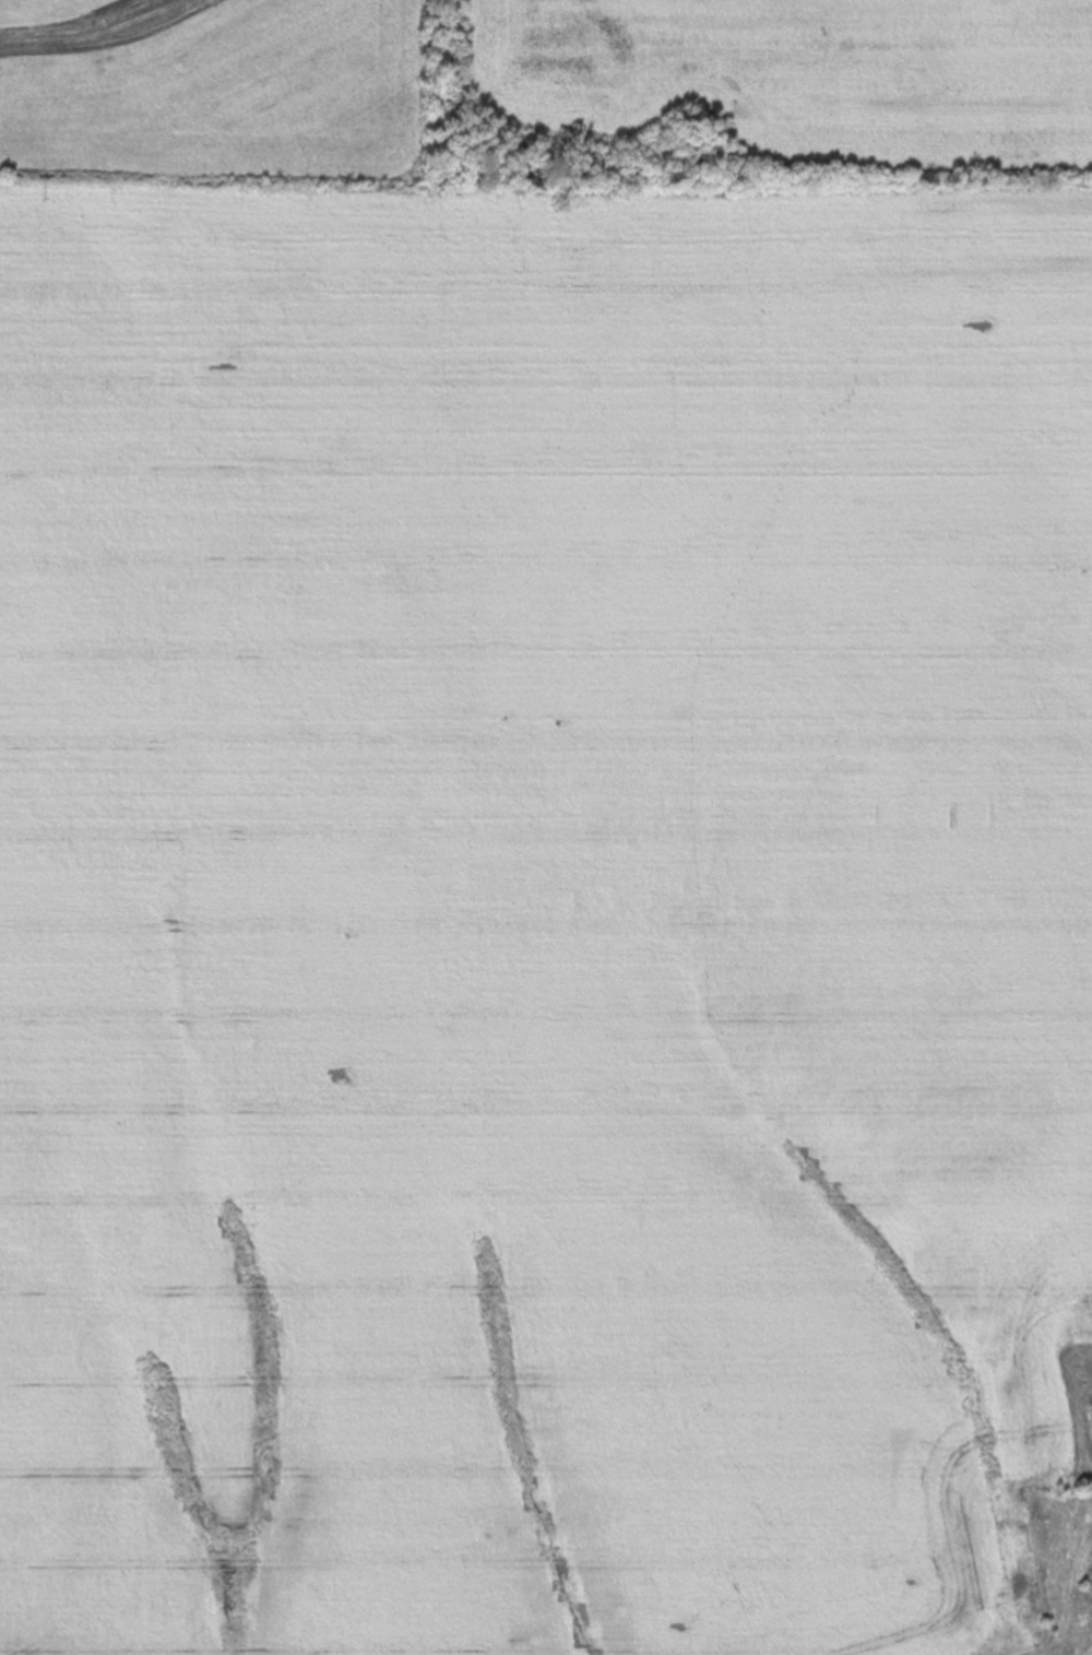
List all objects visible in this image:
building: (1091, 1427)

